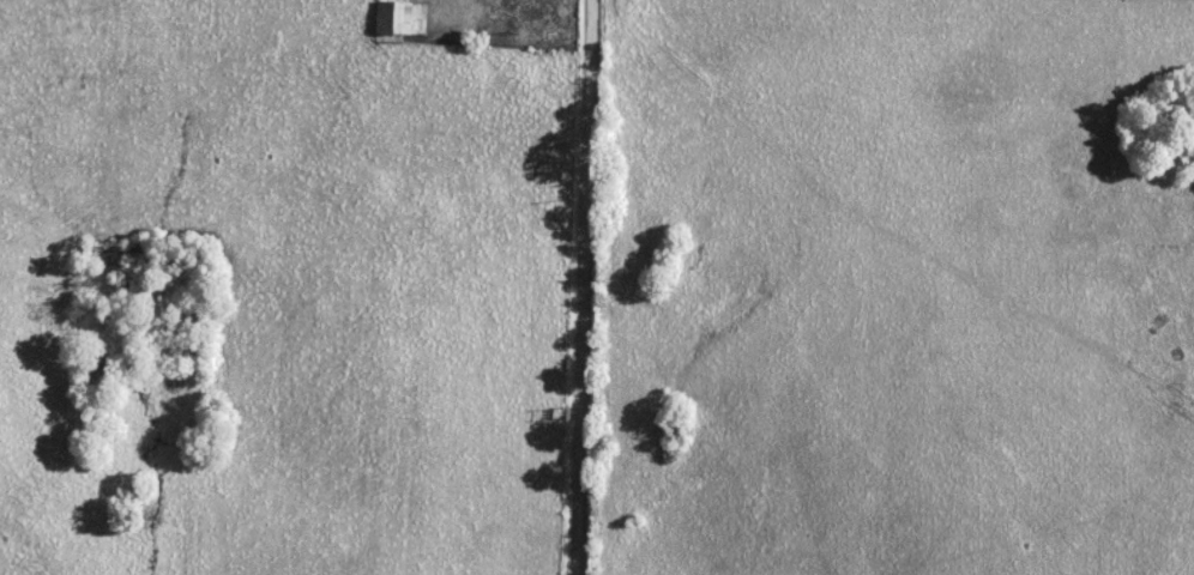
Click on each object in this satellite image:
building: (391, 19)
road: (586, 286)

